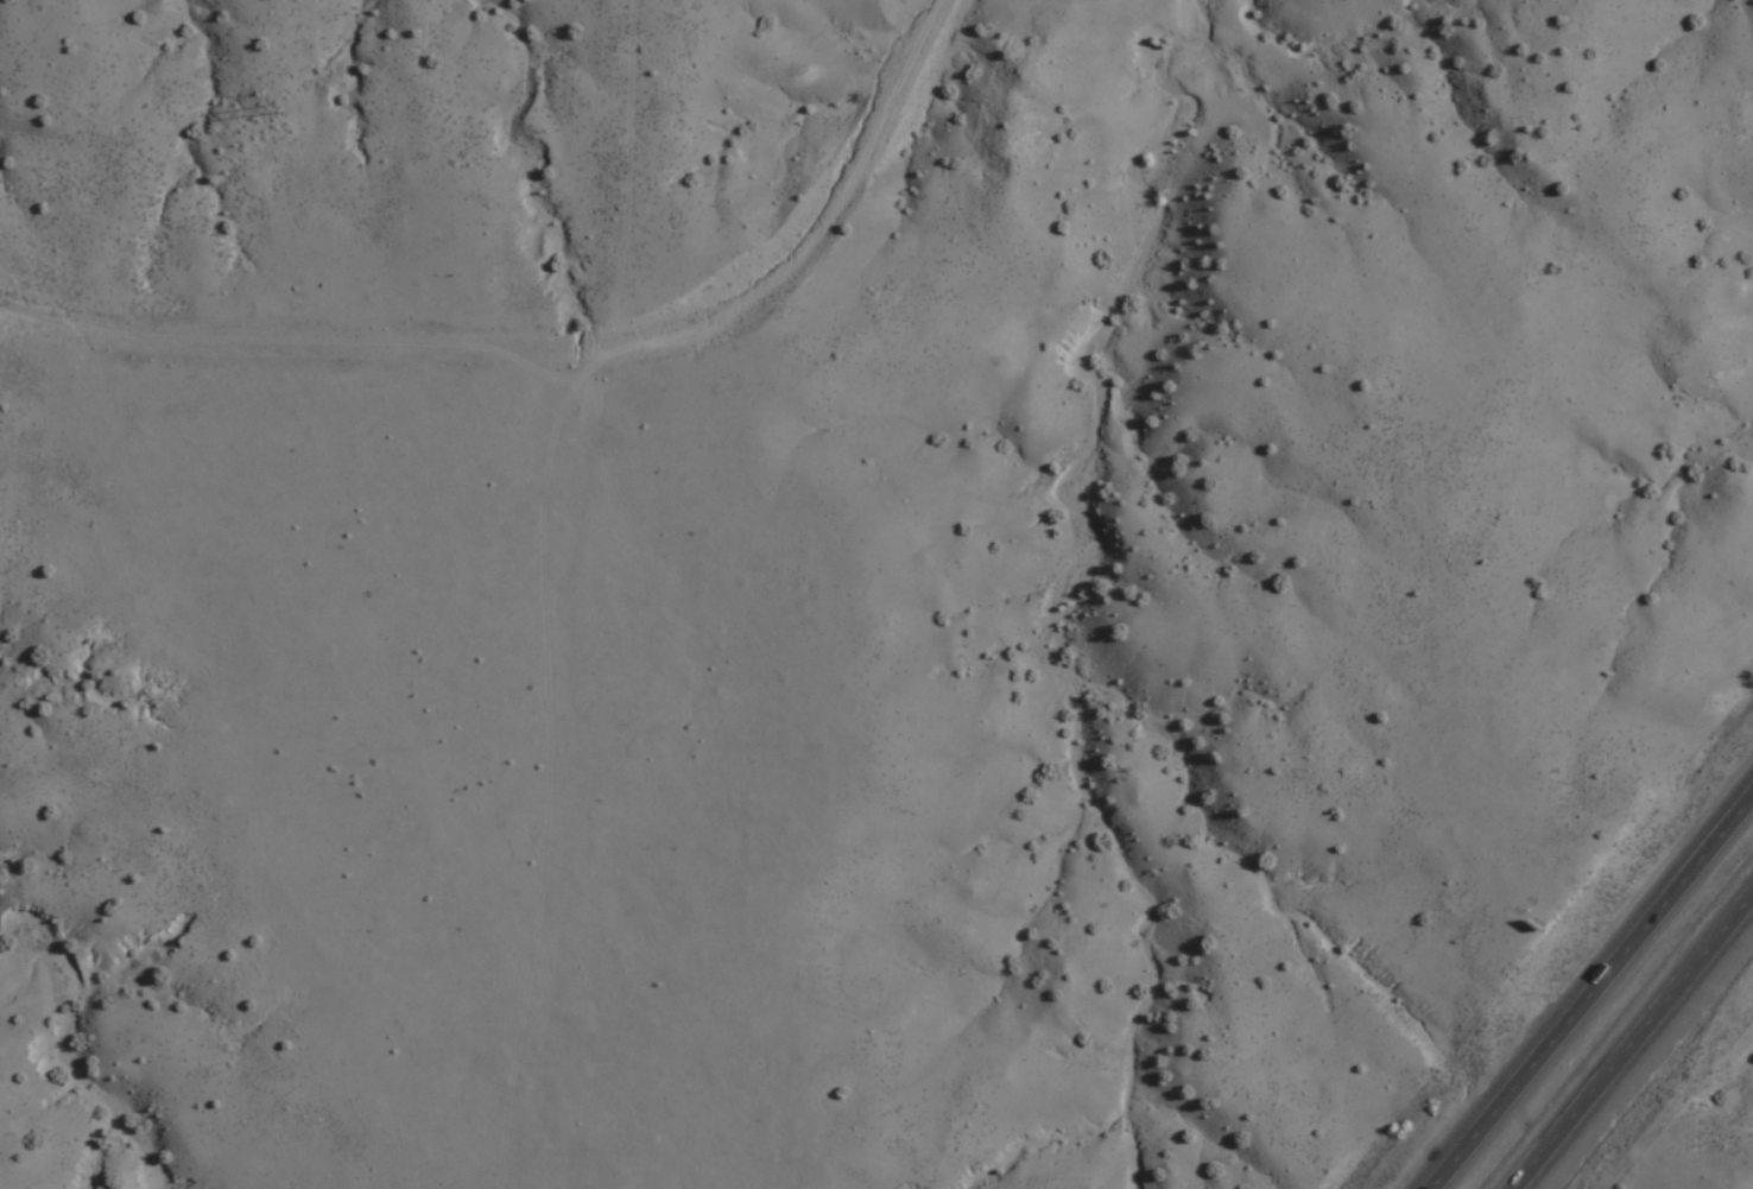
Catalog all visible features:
road: (1595, 1000)
road: (1639, 1050)

